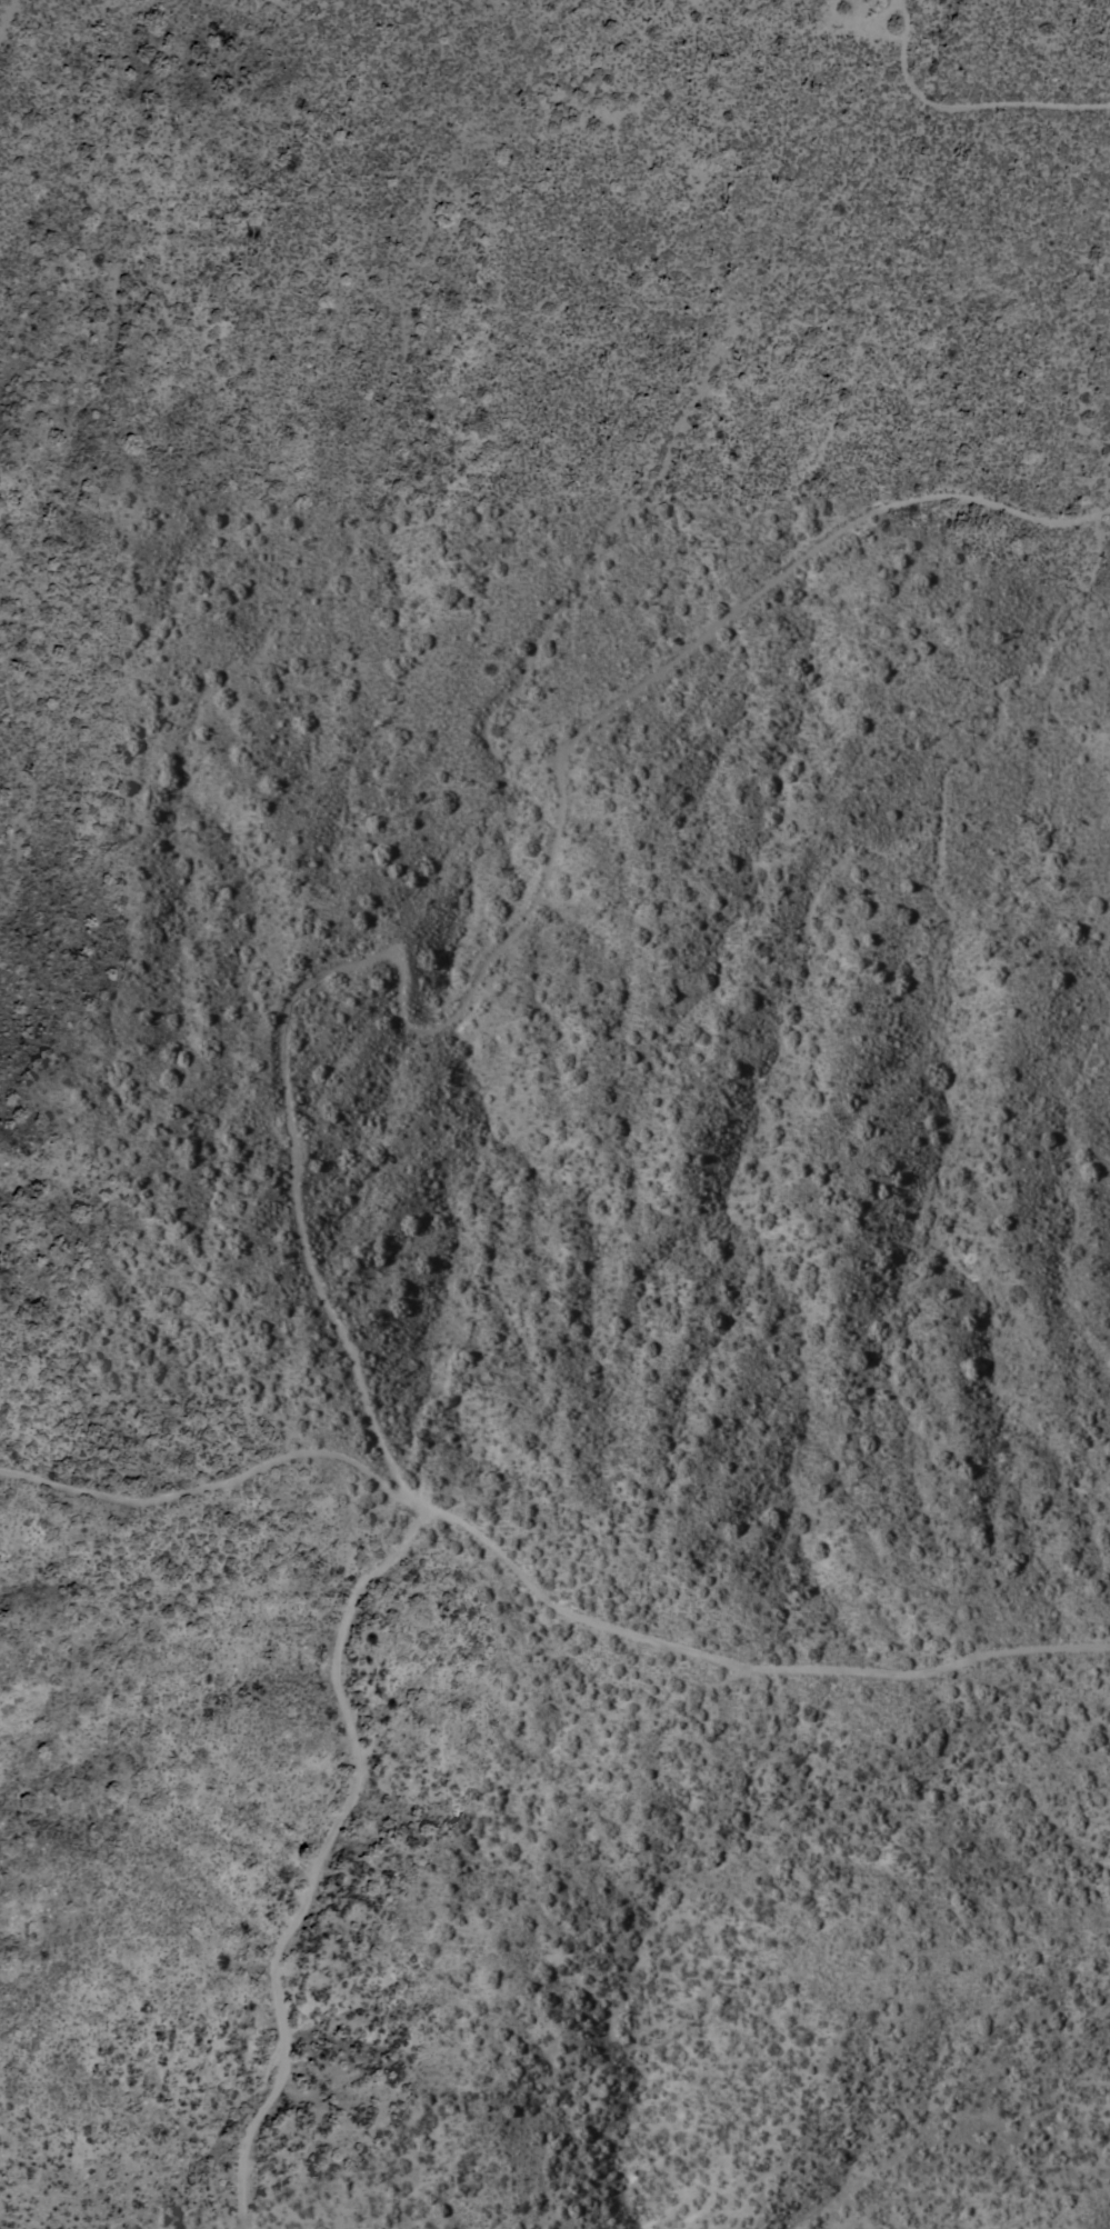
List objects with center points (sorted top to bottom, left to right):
road: (219, 1960)

